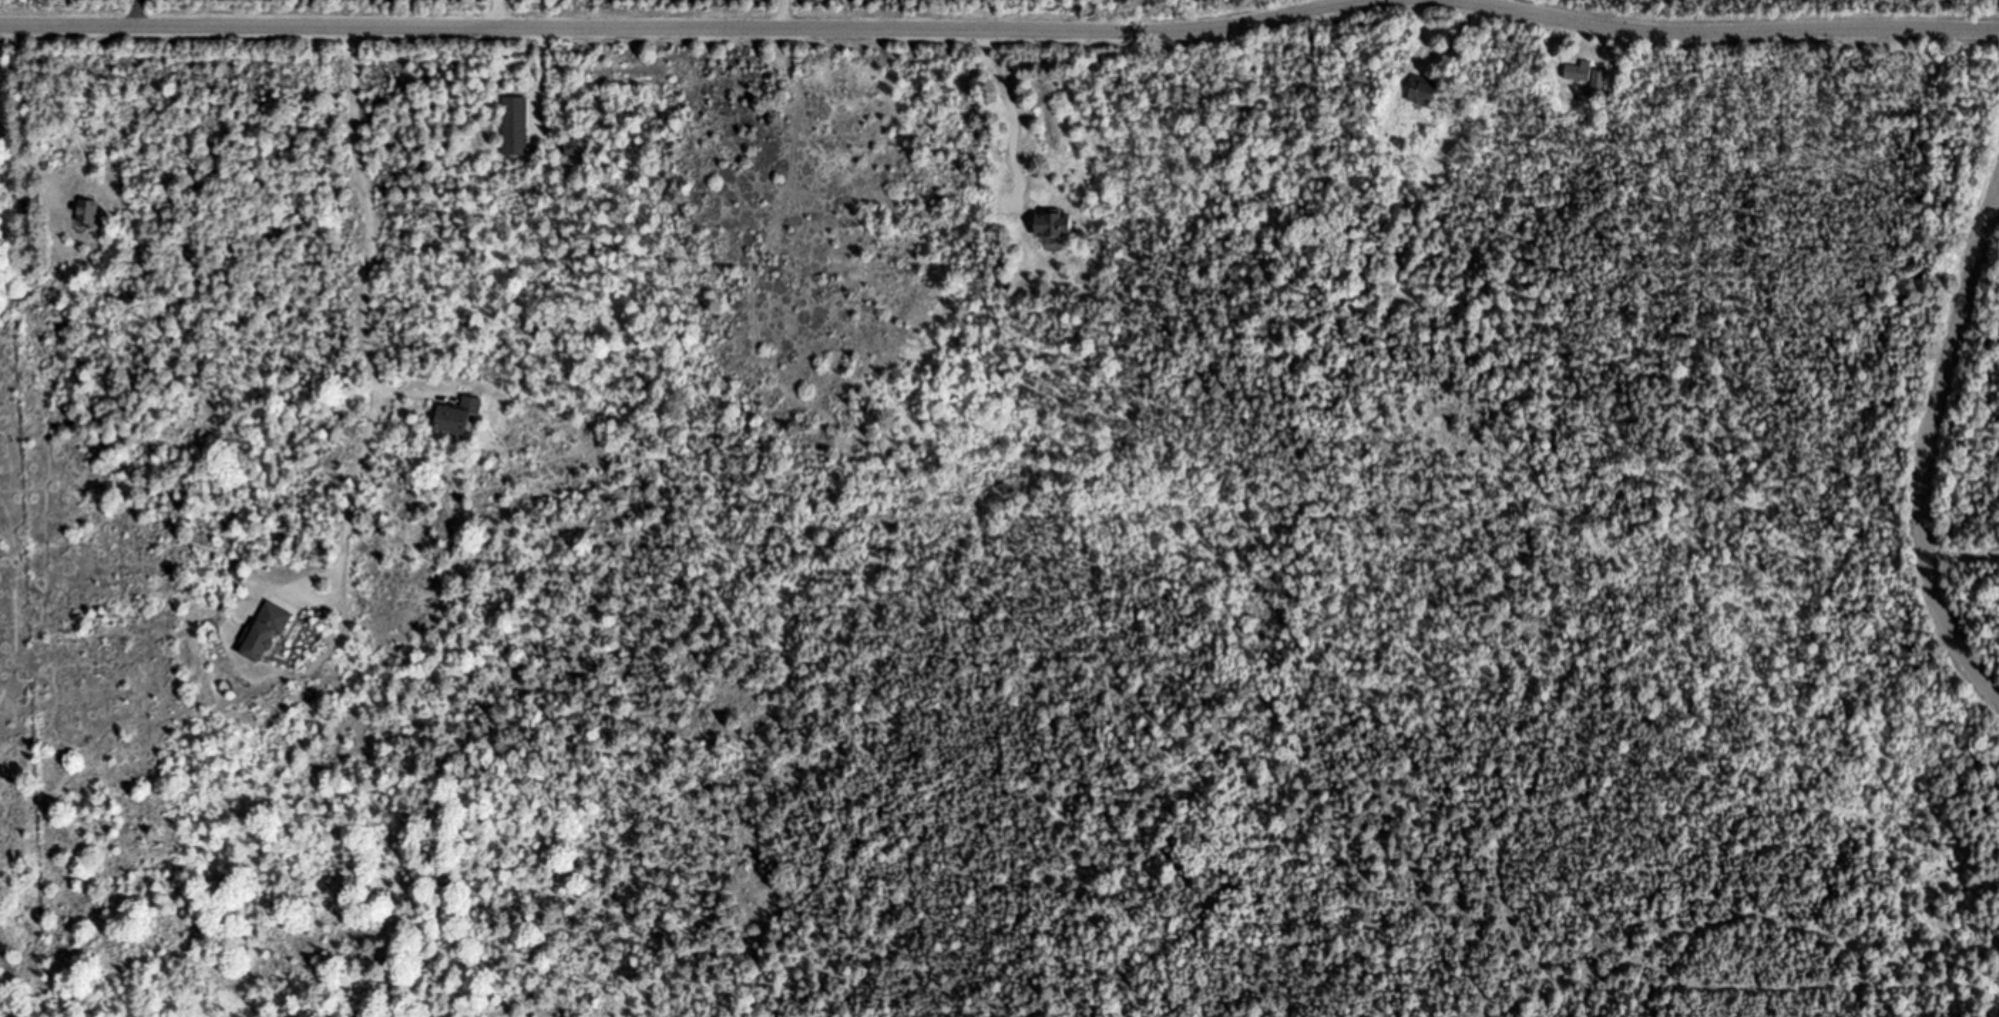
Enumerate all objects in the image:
road: (137, 13)
road: (498, 14)
road: (784, 15)
road: (681, 29)
road: (1716, 34)
road: (1437, 51)
building: (1579, 70)
road: (541, 78)
building: (1598, 78)
building: (1424, 89)
road: (1010, 107)
road: (29, 113)
building: (514, 125)
building: (574, 144)
building: (88, 213)
building: (1054, 224)
road: (361, 311)
road: (1980, 323)
road: (403, 396)
building: (459, 415)
road: (1926, 448)
road: (1962, 552)
building: (266, 631)

